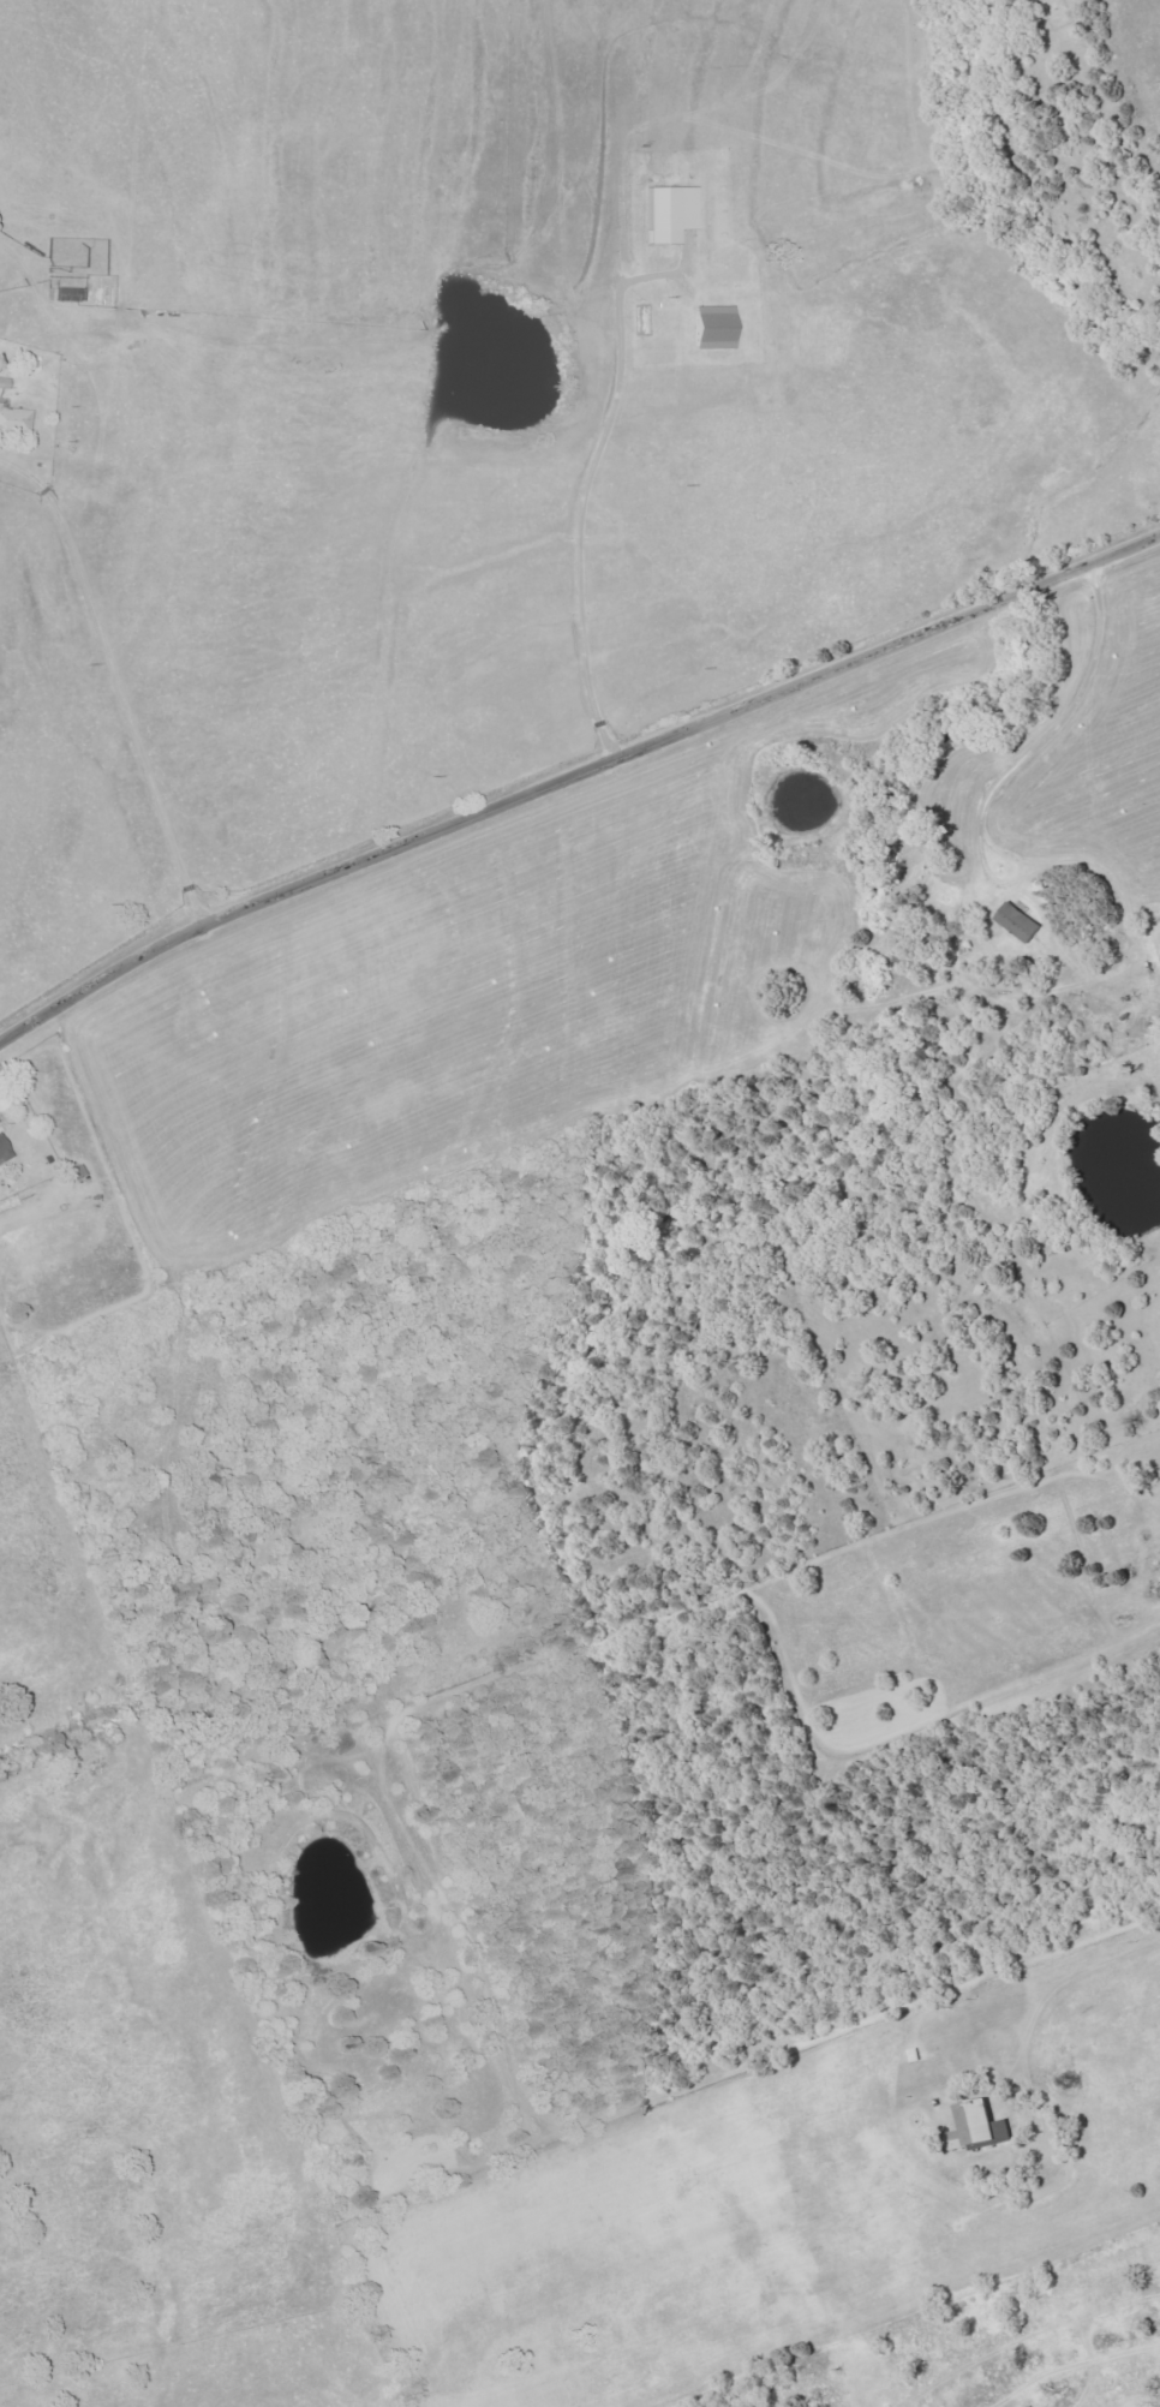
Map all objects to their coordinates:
building: (671, 213)
building: (71, 294)
building: (716, 327)
building: (14, 420)
road: (582, 491)
road: (130, 677)
road: (1028, 764)
road: (572, 775)
building: (1018, 921)
building: (4, 1152)
road: (1065, 1979)
building: (979, 2127)

